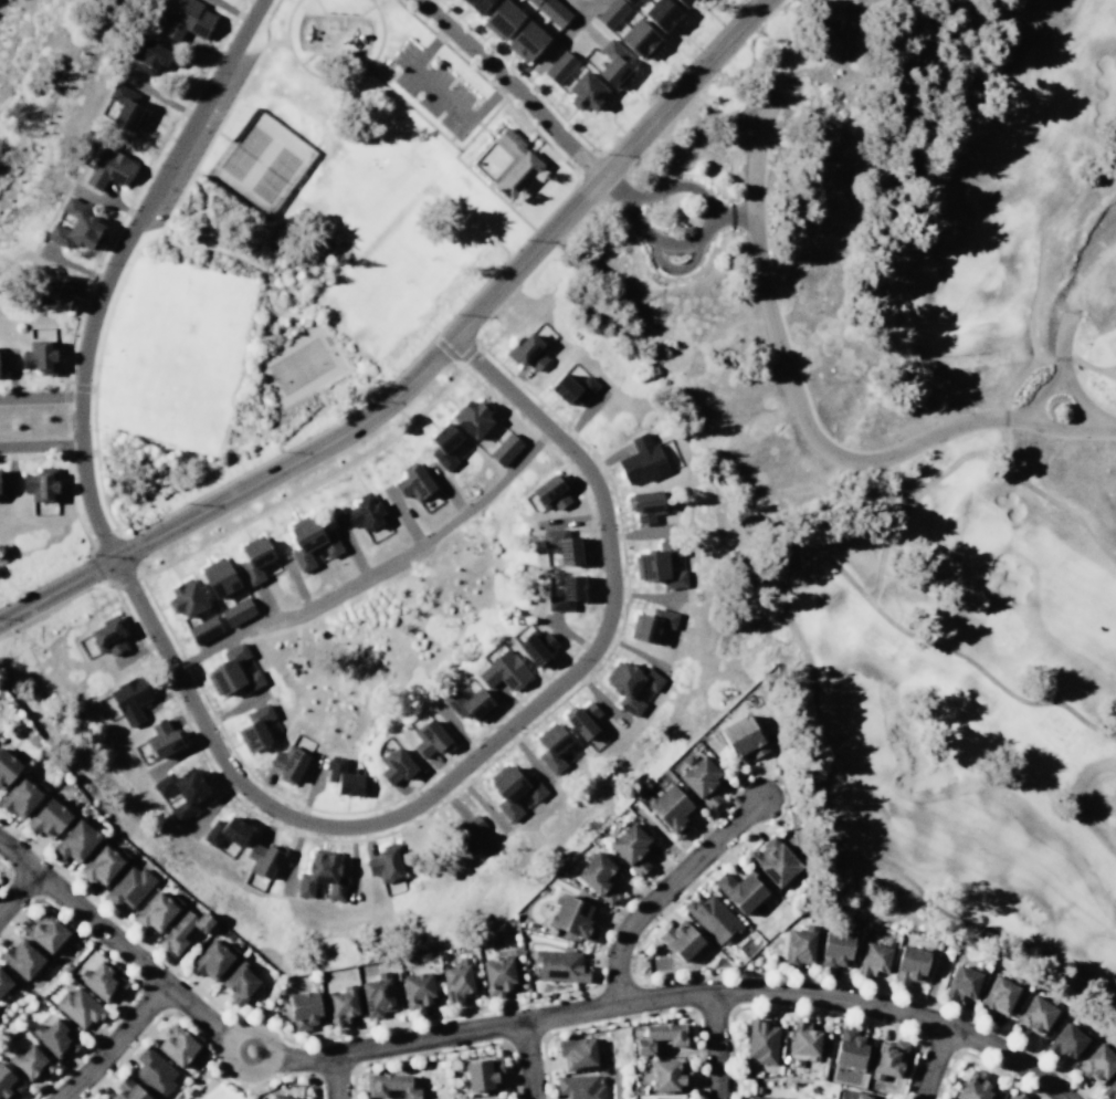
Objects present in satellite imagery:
building: (531, 1)
building: (629, 1)
building: (683, 2)
building: (475, 4)
building: (552, 11)
road: (582, 12)
building: (611, 12)
road: (343, 13)
building: (660, 13)
building: (499, 18)
building: (186, 19)
road: (283, 38)
building: (639, 38)
building: (524, 40)
road: (559, 41)
road: (271, 42)
road: (284, 44)
road: (430, 46)
road: (333, 52)
building: (149, 54)
building: (612, 64)
building: (558, 65)
road: (520, 72)
road: (334, 78)
road: (673, 80)
road: (513, 84)
parking lot: (433, 88)
building: (583, 91)
road: (441, 92)
road: (487, 97)
road: (186, 104)
building: (126, 107)
road: (412, 108)
road: (481, 124)
road: (489, 133)
parking lot: (202, 136)
road: (529, 139)
park: (260, 158)
road: (585, 159)
building: (512, 164)
building: (108, 168)
road: (612, 185)
road: (674, 186)
road: (491, 190)
road: (203, 208)
road: (1063, 210)
road: (734, 214)
building: (76, 226)
road: (253, 237)
road: (168, 239)
road: (663, 241)
park: (309, 249)
road: (178, 252)
park: (965, 263)
road: (85, 292)
building: (56, 293)
park: (902, 295)
road: (281, 312)
road: (1030, 324)
road: (1060, 347)
road: (445, 348)
building: (526, 350)
park: (177, 352)
road: (467, 352)
building: (40, 356)
road: (1060, 357)
building: (1, 362)
road: (457, 363)
park: (298, 365)
road: (425, 365)
road: (461, 365)
road: (1093, 367)
road: (1105, 368)
road: (1020, 375)
road: (790, 381)
road: (33, 383)
road: (81, 384)
building: (570, 387)
road: (65, 395)
road: (40, 396)
road: (1081, 414)
building: (471, 416)
road: (1003, 417)
road: (65, 420)
road: (305, 420)
road: (1097, 423)
road: (40, 443)
road: (66, 443)
building: (442, 444)
building: (504, 448)
road: (33, 456)
building: (641, 460)
road: (235, 478)
building: (412, 482)
building: (1, 483)
building: (41, 483)
building: (549, 491)
road: (1047, 498)
road: (910, 500)
road: (74, 501)
building: (644, 504)
building: (364, 512)
park: (979, 533)
road: (104, 537)
building: (309, 541)
building: (564, 545)
building: (253, 559)
building: (660, 564)
road: (377, 572)
road: (139, 573)
road: (125, 577)
building: (217, 577)
building: (565, 593)
building: (183, 598)
building: (235, 610)
building: (650, 622)
building: (202, 629)
building: (106, 634)
road: (296, 643)
building: (535, 647)
park: (291, 667)
road: (811, 668)
building: (232, 671)
building: (504, 671)
building: (630, 684)
building: (129, 698)
building: (467, 703)
building: (582, 719)
building: (253, 726)
building: (162, 736)
building: (429, 739)
building: (740, 739)
park: (867, 745)
building: (551, 747)
road: (223, 760)
building: (286, 763)
building: (396, 765)
building: (6, 767)
park: (948, 767)
road: (762, 772)
building: (341, 776)
road: (470, 777)
building: (699, 781)
building: (180, 791)
building: (512, 791)
building: (20, 796)
road: (299, 805)
building: (668, 809)
building: (46, 817)
building: (224, 830)
building: (467, 831)
building: (73, 840)
building: (629, 846)
building: (261, 859)
building: (773, 861)
building: (383, 862)
building: (102, 864)
road: (4, 872)
building: (320, 876)
building: (597, 876)
building: (128, 886)
road: (664, 889)
road: (17, 890)
building: (739, 890)
building: (156, 910)
building: (571, 915)
building: (712, 918)
building: (180, 929)
building: (46, 931)
building: (680, 939)
road: (114, 940)
building: (798, 945)
building: (833, 949)
building: (24, 957)
building: (874, 957)
building: (211, 959)
building: (908, 964)
building: (558, 965)
road: (126, 972)
road: (756, 973)
building: (496, 975)
building: (102, 980)
building: (457, 980)
building: (961, 981)
building: (238, 982)
road: (934, 982)
building: (6, 983)
building: (415, 990)
building: (376, 994)
road: (680, 994)
building: (999, 995)
building: (341, 1003)
building: (80, 1005)
building: (303, 1008)
road: (814, 1012)
road: (652, 1015)
building: (1034, 1015)
road: (378, 1027)
building: (660, 1035)
building: (56, 1037)
building: (760, 1040)
building: (804, 1040)
building: (1066, 1040)
road: (112, 1042)
building: (173, 1044)
road: (715, 1045)
building: (849, 1048)
road: (128, 1051)
road: (442, 1051)
building: (577, 1053)
road: (528, 1059)
building: (888, 1059)
road: (228, 1060)
building: (32, 1061)
road: (933, 1061)
building: (1097, 1063)
building: (151, 1070)
building: (481, 1072)
building: (667, 1074)
road: (335, 1076)
building: (9, 1082)
park: (212, 1085)
road: (240, 1085)
building: (388, 1085)
road: (206, 1086)
building: (972, 1086)
building: (579, 1087)
building: (1109, 1089)
building: (126, 1090)
building: (281, 1096)
building: (863, 1096)
building: (1013, 1096)
building: (761, 1097)
road: (34, 1098)
building: (96, 1098)
building: (476, 1098)
building: (656, 1098)

